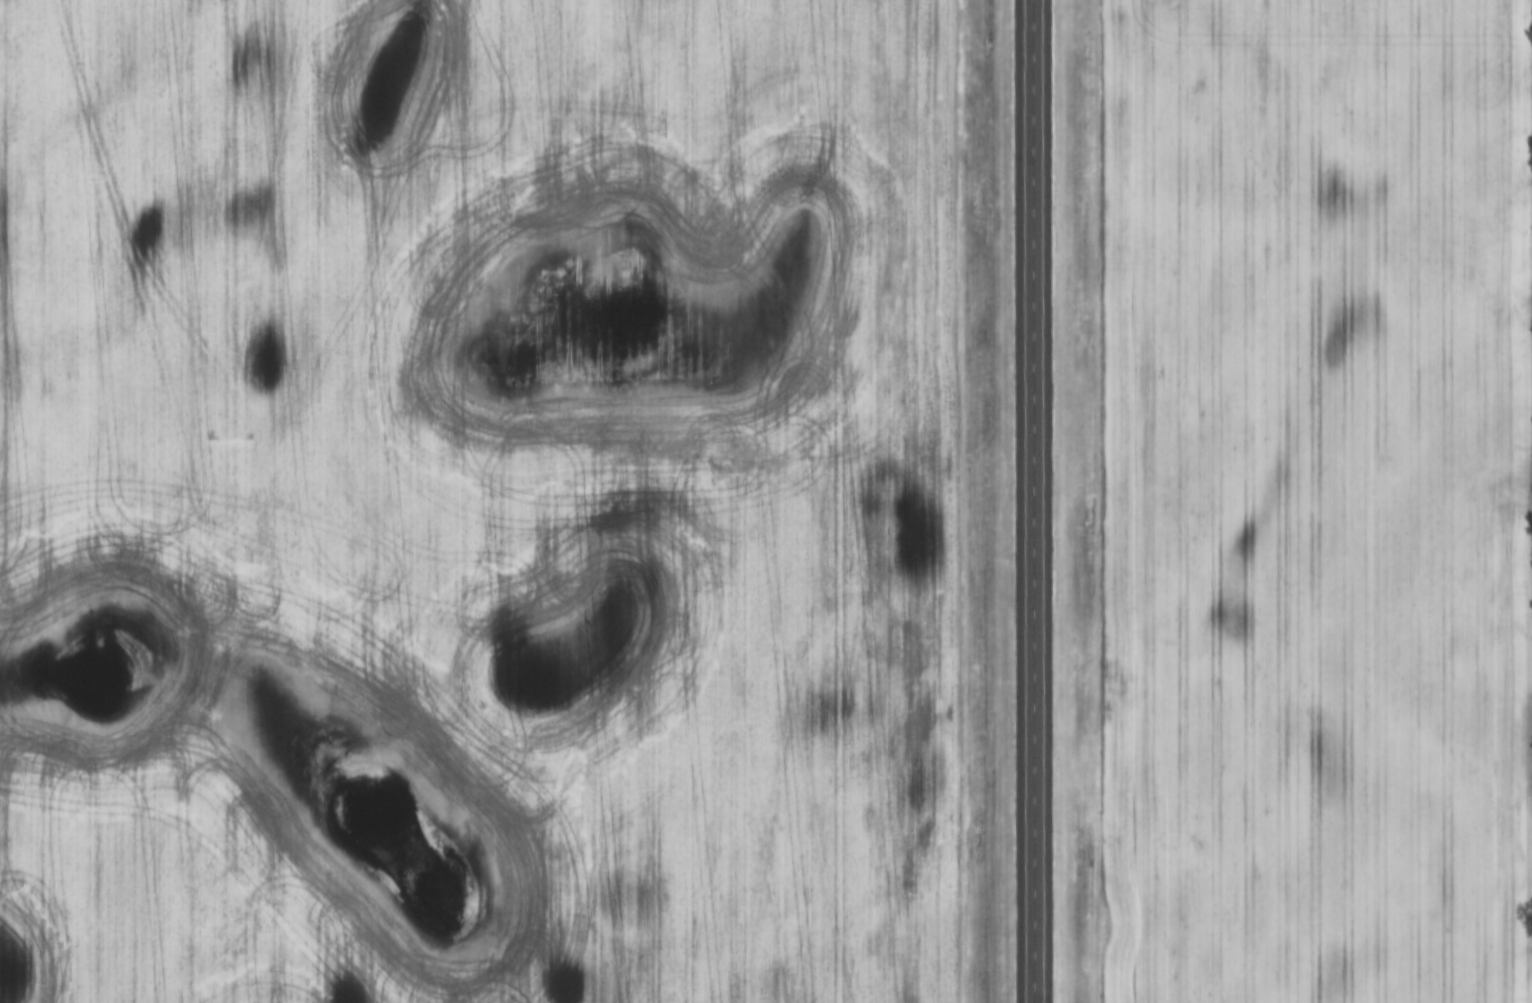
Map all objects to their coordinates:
road: (1035, 501)

